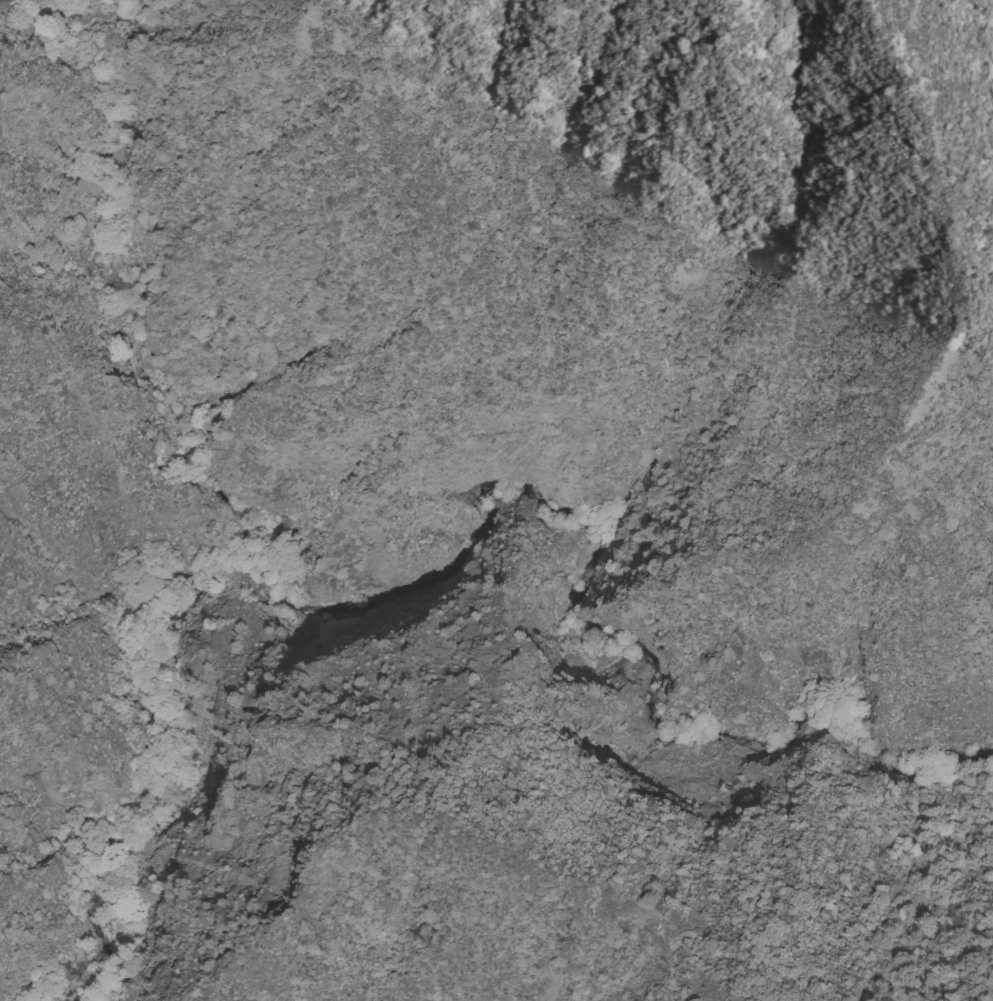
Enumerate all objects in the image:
road: (645, 960)

